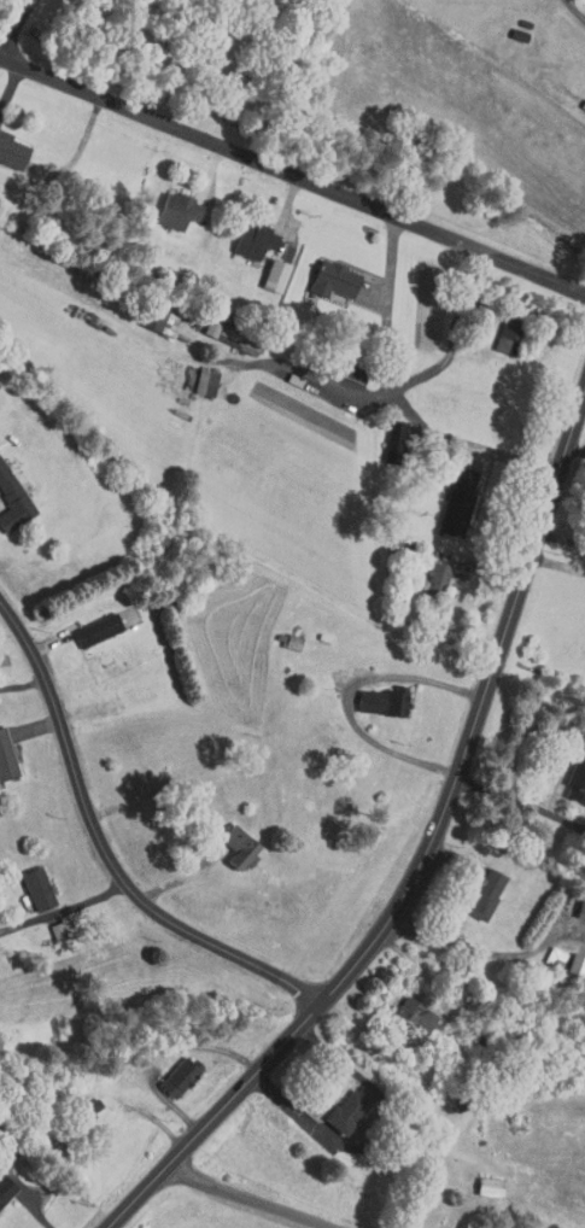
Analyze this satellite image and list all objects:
road: (577, 7)
road: (17, 27)
building: (584, 70)
building: (6, 147)
road: (292, 175)
building: (165, 204)
building: (241, 233)
building: (262, 268)
building: (320, 271)
road: (467, 306)
building: (147, 314)
building: (199, 321)
building: (493, 327)
building: (193, 374)
road: (391, 385)
building: (384, 429)
road: (470, 443)
road: (578, 448)
building: (446, 495)
building: (7, 498)
road: (563, 538)
road: (560, 565)
building: (425, 568)
building: (84, 622)
road: (24, 683)
road: (349, 691)
building: (369, 695)
building: (1, 759)
building: (571, 773)
road: (523, 801)
road: (103, 837)
building: (226, 838)
road: (406, 855)
building: (24, 879)
building: (472, 885)
building: (574, 902)
road: (66, 908)
road: (479, 949)
building: (542, 949)
building: (571, 958)
building: (403, 1006)
building: (166, 1068)
building: (76, 1099)
building: (335, 1101)
road: (378, 1138)
building: (476, 1179)
building: (1, 1180)
road: (244, 1195)

